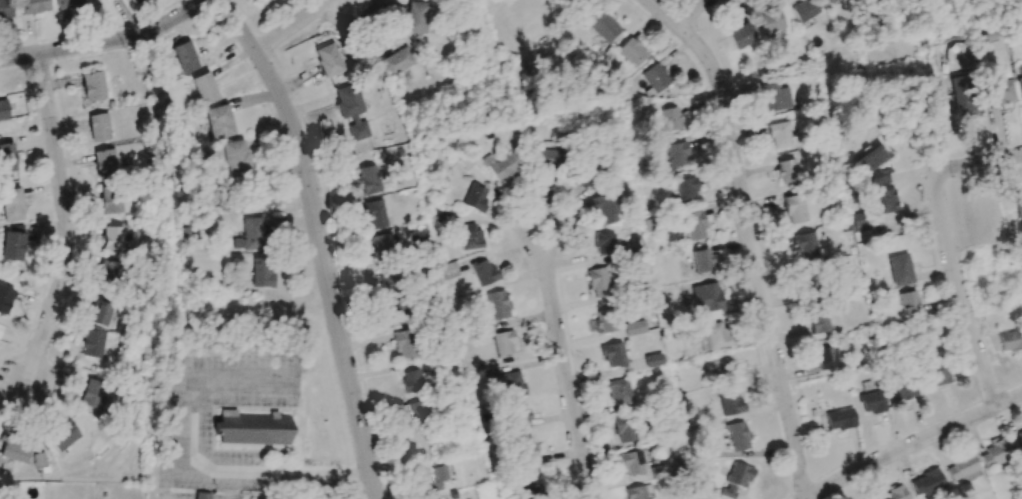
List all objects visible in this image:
building: (133, 1)
building: (830, 1)
building: (68, 3)
building: (34, 6)
building: (5, 9)
building: (804, 10)
road: (690, 11)
building: (416, 17)
building: (770, 21)
road: (298, 22)
building: (603, 27)
building: (741, 35)
road: (106, 42)
building: (631, 52)
building: (185, 57)
building: (327, 59)
building: (396, 61)
building: (655, 77)
building: (93, 86)
building: (1019, 86)
building: (204, 88)
building: (999, 91)
building: (964, 94)
building: (775, 97)
building: (3, 110)
building: (351, 110)
building: (671, 119)
building: (219, 121)
building: (98, 127)
building: (780, 134)
building: (677, 154)
building: (235, 156)
building: (7, 157)
building: (546, 158)
building: (105, 162)
road: (978, 162)
building: (501, 166)
building: (872, 166)
building: (787, 170)
building: (368, 179)
building: (584, 179)
building: (686, 188)
building: (475, 197)
building: (887, 200)
building: (111, 202)
building: (12, 204)
building: (1017, 204)
building: (602, 208)
building: (794, 208)
building: (375, 214)
building: (440, 218)
road: (66, 221)
building: (694, 225)
building: (249, 234)
building: (469, 236)
building: (114, 238)
road: (751, 238)
road: (319, 241)
building: (13, 242)
building: (604, 242)
building: (381, 244)
building: (804, 246)
building: (701, 260)
building: (899, 269)
building: (448, 270)
building: (110, 272)
building: (262, 272)
building: (483, 272)
building: (809, 279)
building: (598, 282)
building: (388, 283)
road: (958, 291)
building: (706, 297)
building: (5, 298)
building: (907, 302)
building: (497, 304)
building: (394, 312)
building: (99, 313)
building: (606, 320)
building: (819, 323)
building: (634, 327)
building: (0, 329)
building: (712, 335)
building: (1011, 340)
building: (92, 343)
building: (402, 343)
building: (504, 343)
building: (613, 354)
building: (824, 359)
building: (653, 360)
road: (563, 366)
building: (722, 366)
building: (939, 373)
building: (410, 380)
building: (513, 381)
building: (903, 390)
building: (619, 391)
building: (93, 393)
building: (872, 401)
building: (731, 403)
building: (413, 414)
building: (519, 416)
building: (839, 418)
building: (252, 428)
building: (624, 428)
building: (738, 435)
building: (63, 436)
building: (1016, 440)
road: (913, 444)
building: (14, 450)
building: (525, 451)
building: (996, 453)
building: (40, 459)
building: (631, 462)
road: (184, 465)
building: (960, 467)
building: (431, 475)
building: (736, 479)
building: (926, 482)
building: (528, 488)
building: (635, 492)
building: (894, 493)
building: (201, 495)

